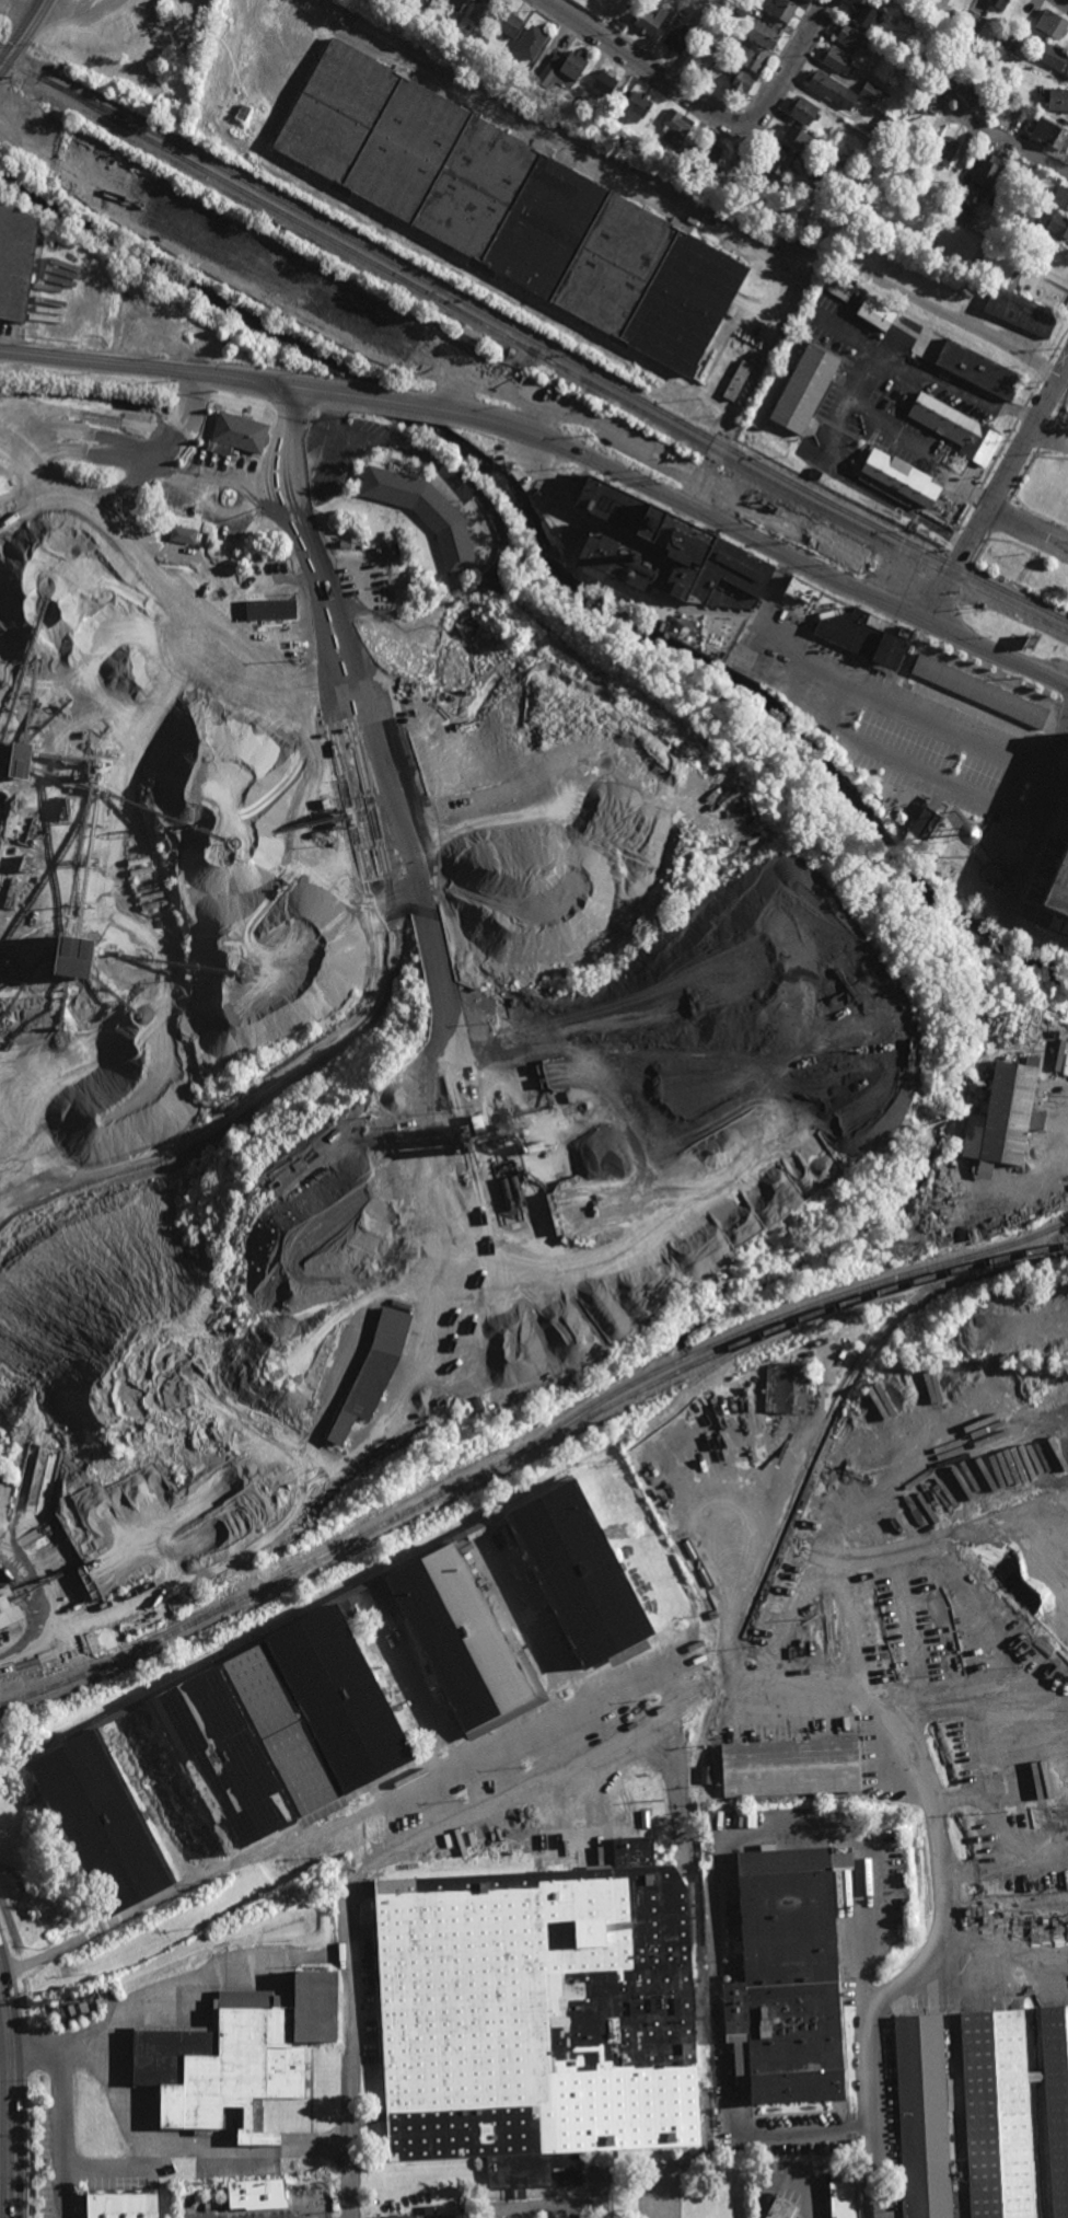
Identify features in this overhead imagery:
road: (1064, 2)
building: (456, 4)
building: (999, 4)
building: (739, 8)
building: (783, 9)
building: (483, 11)
road: (15, 12)
building: (188, 14)
building: (706, 14)
building: (866, 15)
building: (973, 19)
building: (650, 20)
building: (448, 22)
building: (508, 23)
building: (618, 23)
building: (1053, 23)
building: (729, 32)
building: (764, 33)
road: (23, 34)
building: (680, 35)
building: (850, 35)
building: (1009, 41)
building: (481, 42)
building: (531, 42)
building: (906, 45)
road: (798, 53)
building: (1052, 54)
building: (703, 57)
building: (752, 58)
building: (836, 59)
building: (715, 63)
building: (534, 69)
building: (561, 70)
railway: (27, 74)
building: (954, 74)
road: (658, 76)
building: (602, 82)
building: (741, 83)
building: (829, 88)
building: (871, 91)
building: (974, 93)
building: (613, 94)
building: (579, 96)
building: (1058, 99)
building: (931, 103)
building: (636, 106)
building: (803, 109)
building: (244, 113)
building: (172, 114)
building: (612, 116)
building: (915, 125)
building: (675, 127)
building: (885, 129)
building: (1049, 132)
building: (86, 137)
building: (798, 137)
road: (1012, 139)
building: (880, 150)
building: (945, 150)
building: (707, 155)
building: (835, 155)
building: (779, 162)
building: (987, 173)
building: (820, 177)
building: (1061, 197)
building: (511, 208)
building: (961, 210)
building: (1055, 222)
building: (217, 235)
building: (15, 261)
park: (1011, 269)
road: (1041, 270)
building: (1023, 278)
road: (1032, 278)
road: (931, 304)
building: (1022, 311)
building: (877, 313)
building: (363, 315)
building: (471, 337)
railway: (560, 356)
railway: (558, 366)
road: (154, 367)
building: (980, 370)
road: (860, 378)
building: (738, 381)
building: (804, 389)
road: (534, 396)
road: (374, 398)
road: (291, 408)
building: (959, 427)
building: (237, 435)
road: (1049, 436)
road: (327, 453)
road: (709, 465)
road: (448, 470)
road: (167, 471)
building: (902, 475)
road: (997, 492)
building: (188, 509)
building: (427, 512)
road: (1025, 534)
building: (183, 535)
road: (756, 539)
building: (831, 542)
building: (394, 548)
building: (671, 550)
building: (803, 588)
building: (270, 609)
building: (864, 639)
road: (336, 650)
road: (808, 667)
building: (979, 691)
parking lot: (903, 725)
road: (949, 733)
building: (21, 760)
building: (859, 765)
road: (909, 769)
road: (1048, 775)
building: (927, 819)
water tower: (970, 837)
building: (1059, 888)
building: (72, 956)
quarry: (373, 997)
building: (466, 1038)
building: (1003, 1117)
building: (415, 1147)
road: (1044, 1165)
building: (413, 1170)
building: (421, 1179)
building: (373, 1191)
building: (392, 1205)
road: (437, 1246)
building: (378, 1259)
railway: (852, 1303)
building: (374, 1371)
building: (787, 1386)
railway: (529, 1449)
railway: (803, 1477)
road: (864, 1553)
building: (577, 1573)
road: (38, 1597)
building: (9, 1607)
building: (462, 1639)
building: (628, 1653)
building: (283, 1730)
road: (975, 1734)
building: (791, 1768)
building: (103, 1824)
building: (632, 1850)
road: (404, 1852)
road: (1005, 1858)
road: (712, 1884)
road: (937, 1945)
road: (1000, 1971)
building: (786, 1974)
road: (170, 1992)
building: (74, 2011)
building: (541, 2014)
road: (2, 2028)
building: (241, 2056)
road: (8, 2096)
building: (1057, 2100)
building: (997, 2114)
building: (922, 2115)
road: (58, 2135)
road: (191, 2157)
road: (111, 2169)
building: (258, 2194)
building: (841, 2198)
building: (125, 2204)
building: (780, 2209)
building: (403, 2216)

